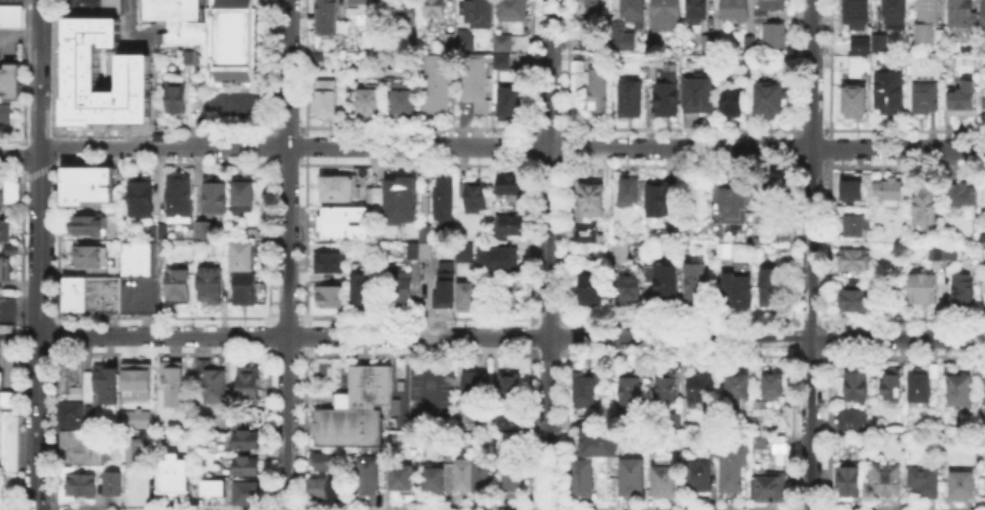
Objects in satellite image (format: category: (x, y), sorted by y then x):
parking lot: (10, 2)
building: (772, 4)
building: (91, 6)
building: (587, 8)
building: (630, 8)
building: (170, 9)
building: (360, 9)
building: (434, 9)
building: (513, 9)
building: (734, 10)
building: (696, 11)
building: (403, 12)
building: (479, 12)
building: (856, 14)
building: (895, 14)
building: (962, 14)
building: (326, 15)
building: (11, 16)
building: (665, 16)
building: (760, 16)
building: (983, 16)
building: (929, 23)
parking lot: (132, 30)
building: (774, 36)
building: (620, 37)
building: (231, 38)
building: (193, 39)
building: (465, 40)
building: (450, 41)
building: (503, 42)
building: (706, 42)
building: (858, 43)
building: (879, 43)
building: (749, 44)
parking lot: (8, 47)
building: (379, 48)
building: (187, 55)
building: (595, 55)
building: (787, 59)
building: (839, 60)
building: (504, 64)
building: (748, 69)
building: (103, 73)
building: (474, 78)
building: (9, 81)
building: (436, 82)
building: (598, 90)
building: (664, 92)
building: (888, 92)
building: (699, 96)
building: (174, 97)
building: (326, 98)
building: (403, 98)
building: (925, 98)
building: (631, 99)
building: (768, 99)
building: (855, 100)
building: (367, 101)
building: (962, 101)
building: (511, 102)
building: (731, 102)
building: (984, 104)
building: (6, 114)
building: (875, 120)
road: (491, 147)
building: (84, 183)
building: (514, 185)
building: (346, 187)
building: (632, 191)
building: (889, 191)
building: (852, 192)
building: (10, 195)
building: (376, 196)
building: (409, 196)
building: (244, 197)
building: (142, 198)
building: (477, 198)
building: (216, 199)
building: (665, 200)
building: (180, 201)
building: (963, 201)
building: (595, 203)
building: (445, 205)
building: (734, 205)
building: (925, 205)
building: (773, 207)
building: (345, 225)
building: (88, 227)
building: (510, 228)
building: (855, 228)
building: (205, 232)
building: (6, 233)
building: (255, 233)
building: (427, 233)
building: (587, 236)
building: (784, 240)
building: (162, 241)
building: (13, 251)
building: (462, 251)
building: (428, 252)
building: (623, 253)
building: (725, 253)
building: (944, 253)
road: (39, 254)
building: (89, 254)
road: (287, 254)
road: (549, 254)
road: (809, 254)
building: (496, 257)
building: (136, 258)
building: (244, 258)
building: (855, 261)
building: (331, 264)
building: (6, 272)
building: (70, 284)
building: (667, 284)
building: (698, 286)
building: (180, 287)
building: (404, 287)
building: (213, 289)
building: (362, 289)
building: (444, 289)
building: (591, 289)
building: (738, 289)
building: (772, 289)
building: (632, 290)
building: (923, 290)
building: (962, 291)
building: (245, 292)
building: (983, 292)
building: (100, 293)
building: (136, 293)
building: (471, 294)
building: (330, 297)
building: (508, 298)
building: (855, 300)
building: (71, 302)
road: (19, 334)
road: (511, 336)
building: (69, 374)
building: (104, 381)
building: (509, 383)
building: (140, 384)
building: (215, 385)
building: (248, 385)
building: (472, 385)
building: (175, 387)
building: (859, 387)
building: (667, 388)
building: (740, 388)
building: (774, 388)
building: (892, 389)
building: (921, 389)
building: (702, 390)
building: (960, 391)
building: (629, 392)
building: (588, 393)
building: (6, 397)
parking lot: (427, 397)
building: (357, 408)
building: (68, 413)
building: (0, 415)
building: (135, 417)
building: (508, 417)
building: (855, 421)
building: (677, 422)
building: (638, 424)
building: (245, 439)
building: (510, 439)
building: (654, 442)
building: (762, 442)
building: (79, 446)
building: (596, 447)
building: (135, 456)
building: (323, 459)
building: (245, 464)
building: (735, 466)
building: (461, 474)
building: (366, 475)
building: (480, 475)
building: (178, 477)
building: (400, 477)
building: (433, 478)
building: (511, 478)
building: (665, 478)
building: (699, 478)
building: (584, 480)
building: (633, 480)
building: (886, 480)
building: (110, 481)
building: (850, 481)
building: (924, 482)
building: (76, 485)
building: (315, 485)
building: (335, 486)
building: (0, 487)
building: (212, 487)
building: (772, 488)
building: (964, 489)
building: (246, 495)

